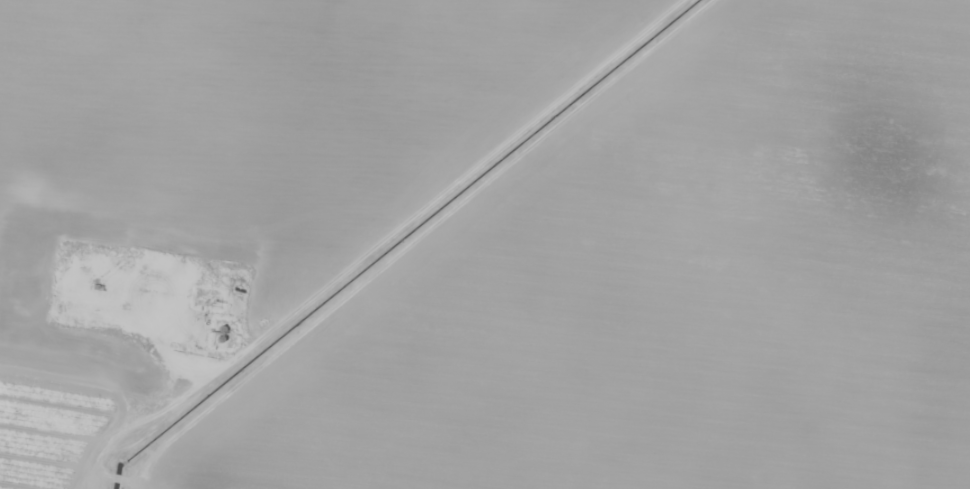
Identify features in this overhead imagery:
road: (340, 217)
road: (450, 257)

